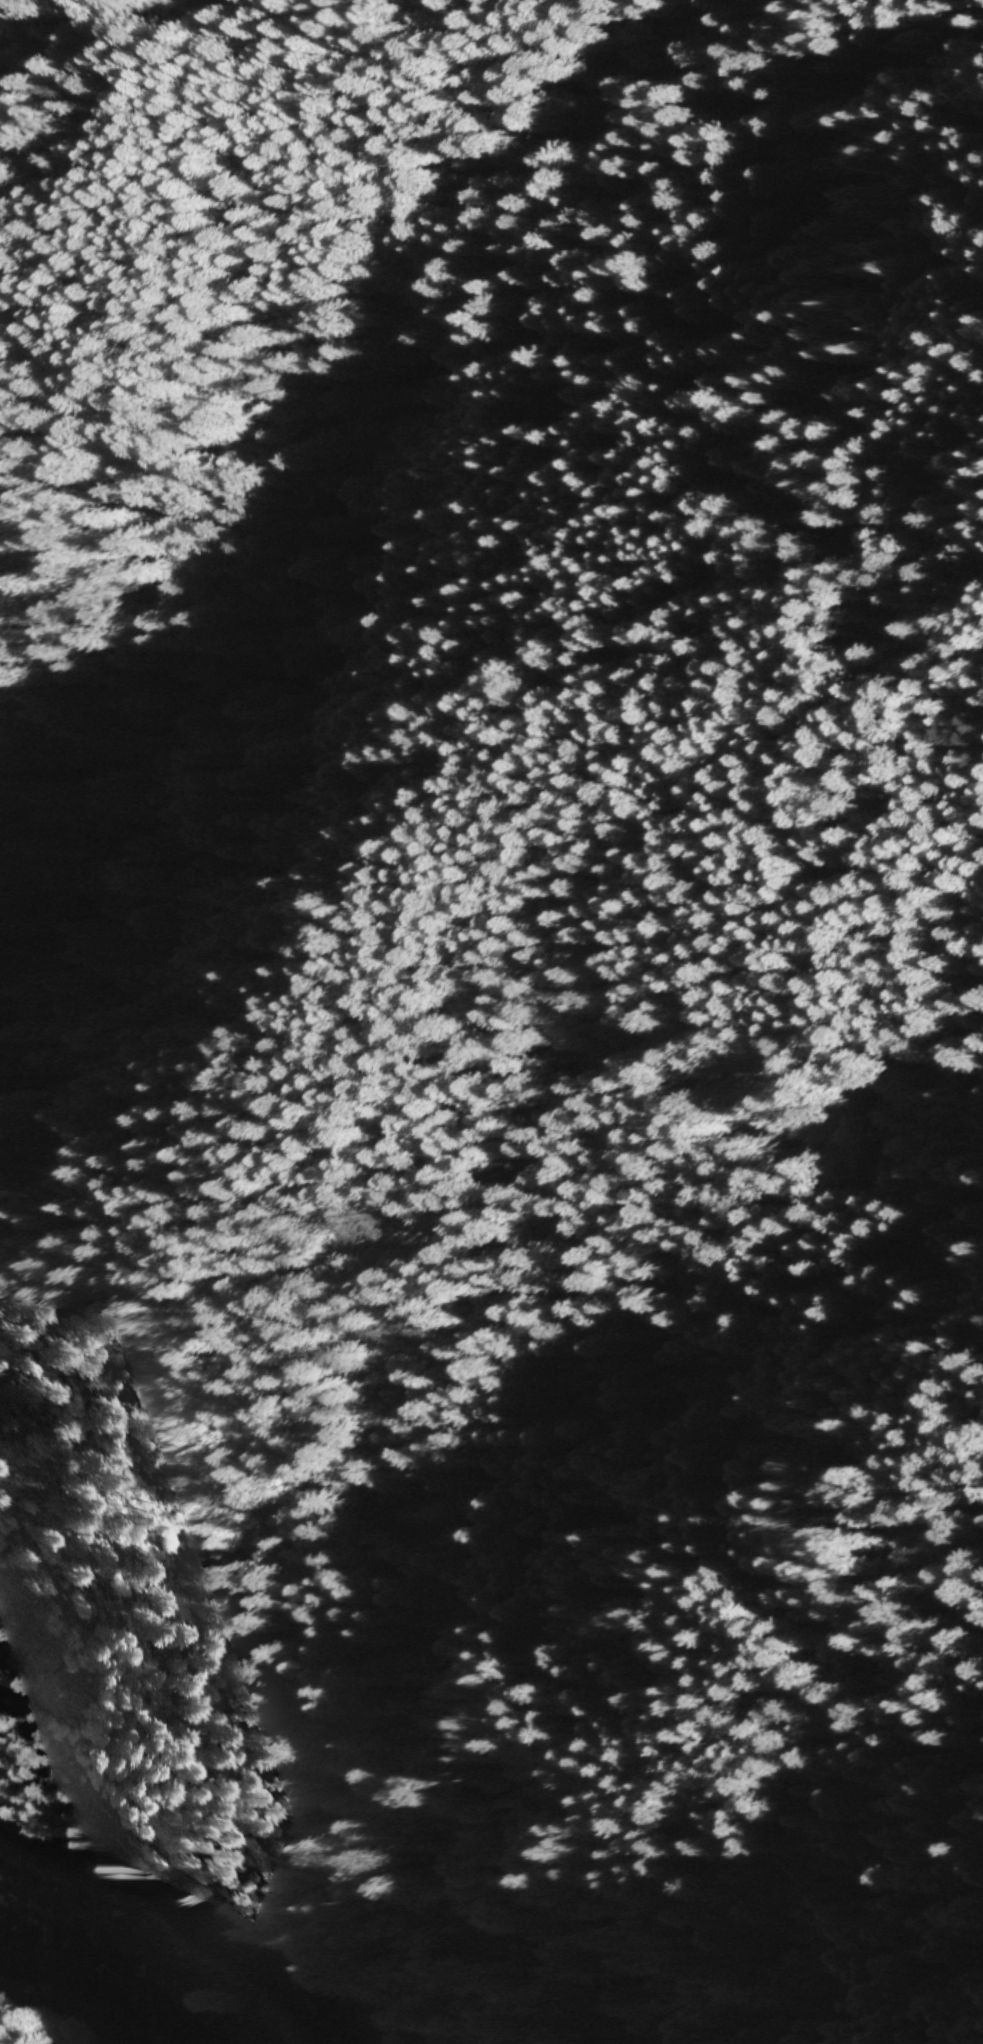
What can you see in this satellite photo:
road: (158, 1906)
river: (91, 1973)

